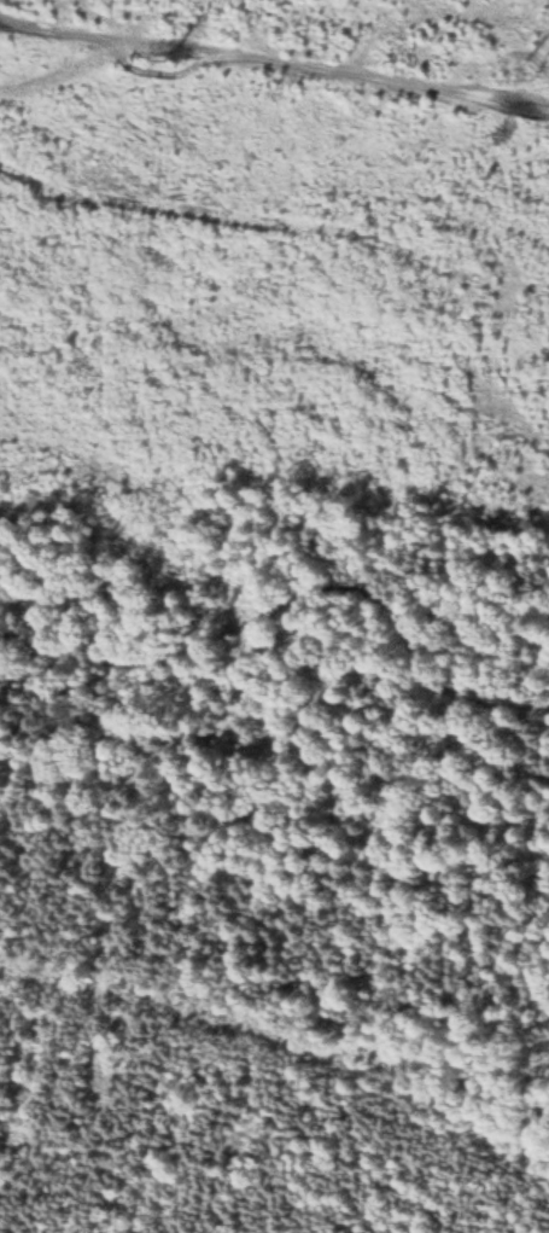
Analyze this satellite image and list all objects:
road: (162, 42)
road: (436, 86)
road: (293, 605)

